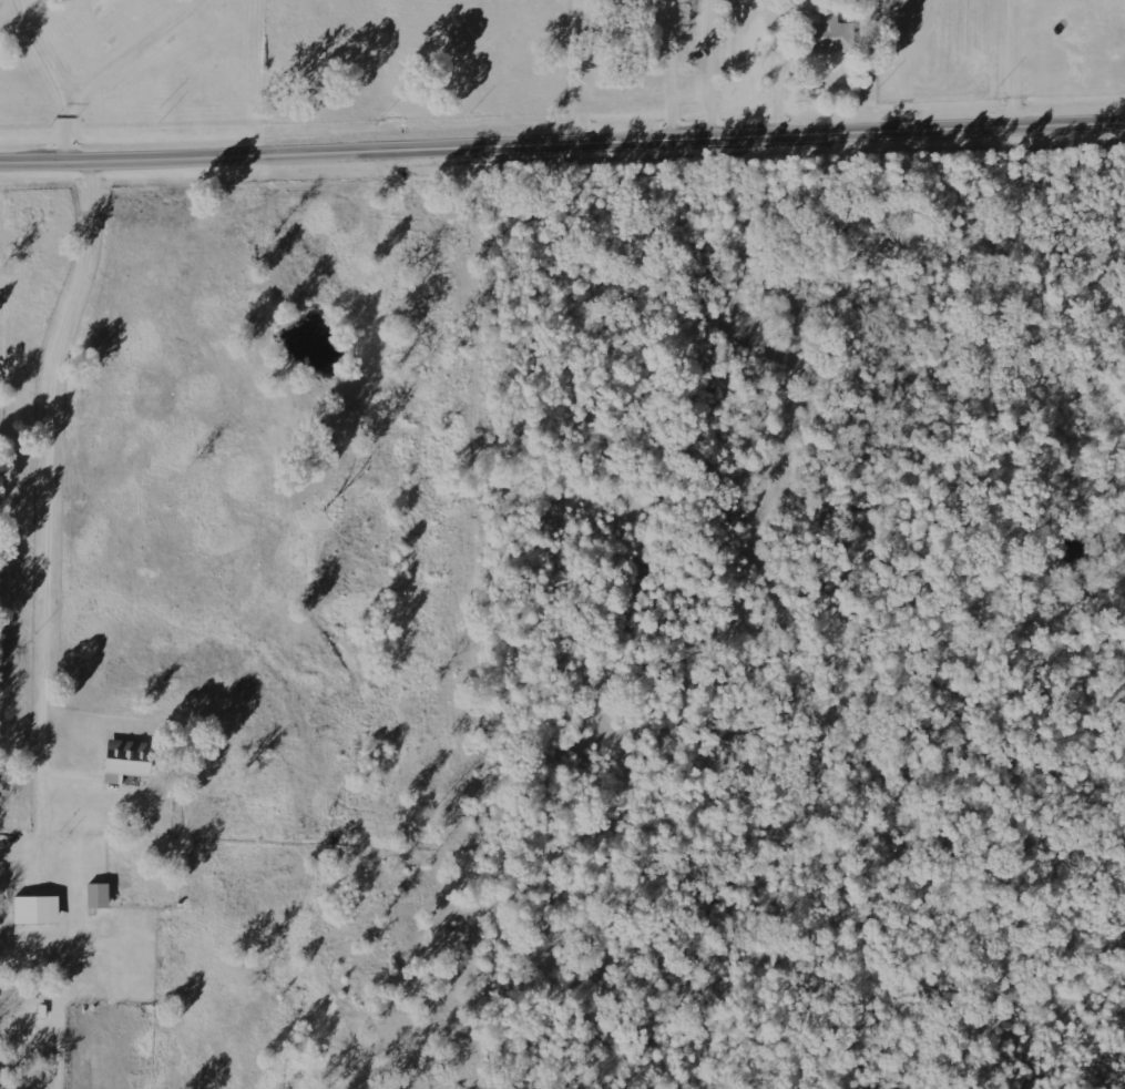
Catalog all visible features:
building: (825, 31)
road: (562, 143)
building: (125, 759)
building: (34, 909)

